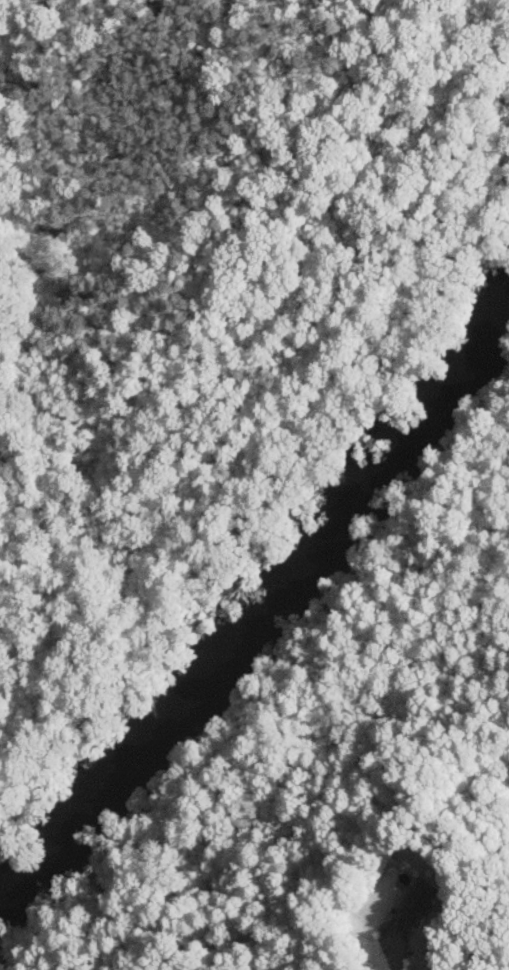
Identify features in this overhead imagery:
river: (276, 615)
road: (444, 953)

